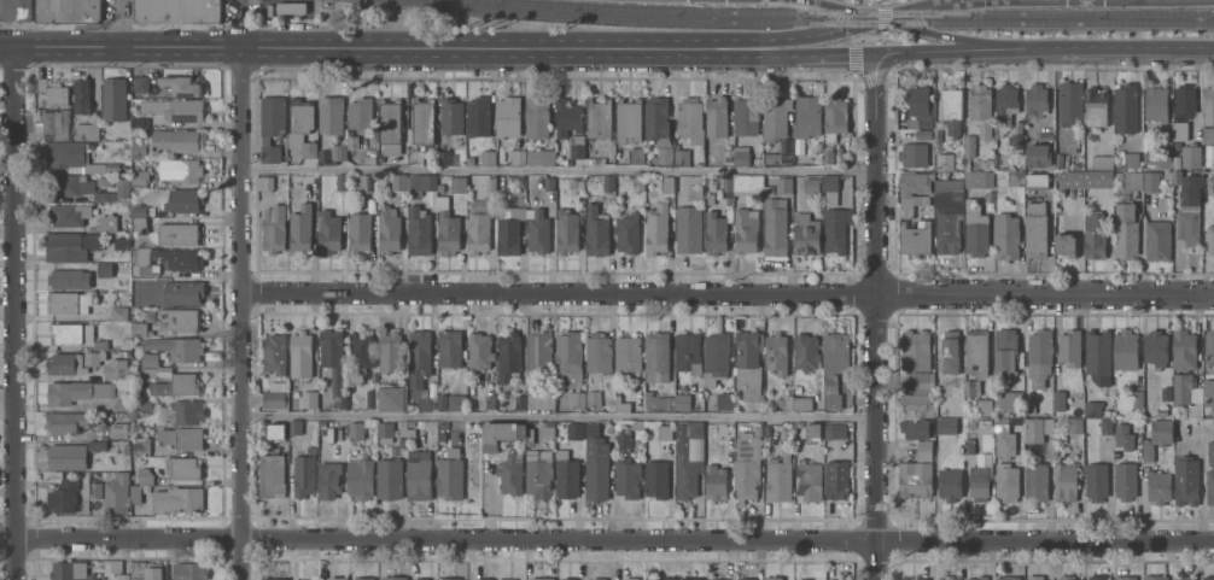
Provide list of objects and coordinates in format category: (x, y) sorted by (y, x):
road: (886, 2)
road: (929, 5)
building: (293, 7)
road: (846, 8)
building: (17, 10)
building: (69, 11)
building: (177, 11)
road: (118, 12)
road: (240, 12)
railway: (854, 12)
road: (831, 17)
road: (885, 17)
traffic signals: (885, 18)
railway: (802, 22)
road: (164, 24)
road: (118, 34)
road: (239, 36)
road: (866, 36)
road: (789, 37)
road: (953, 37)
road: (6, 46)
road: (354, 47)
road: (1120, 47)
road: (949, 49)
traffic signals: (872, 53)
road: (745, 54)
road: (834, 54)
road: (854, 58)
road: (14, 64)
road: (126, 64)
road: (874, 64)
road: (1050, 65)
road: (237, 70)
road: (875, 74)
road: (474, 76)
road: (780, 77)
building: (142, 83)
building: (182, 86)
building: (54, 93)
building: (82, 95)
building: (115, 99)
building: (1185, 99)
building: (920, 100)
building: (1038, 100)
building: (952, 102)
building: (1006, 104)
building: (1072, 104)
building: (1156, 104)
building: (1209, 105)
building: (1096, 106)
building: (1126, 107)
building: (175, 109)
building: (982, 109)
building: (362, 113)
building: (331, 116)
building: (453, 116)
building: (479, 116)
building: (538, 116)
building: (717, 116)
building: (747, 116)
building: (809, 116)
building: (509, 117)
building: (568, 117)
building: (835, 117)
building: (777, 118)
building: (600, 119)
building: (691, 119)
building: (629, 121)
building: (140, 122)
building: (391, 122)
building: (424, 122)
building: (927, 123)
building: (54, 124)
building: (273, 127)
building: (303, 127)
building: (659, 127)
building: (87, 130)
building: (1179, 130)
building: (924, 134)
building: (1168, 135)
building: (1209, 135)
building: (179, 140)
building: (1017, 143)
building: (970, 145)
building: (578, 146)
building: (140, 148)
building: (339, 152)
building: (374, 152)
building: (66, 154)
building: (829, 154)
building: (915, 154)
building: (1039, 154)
building: (637, 156)
building: (1191, 156)
building: (416, 157)
building: (444, 157)
building: (489, 157)
building: (518, 157)
building: (542, 157)
building: (683, 157)
building: (1157, 157)
building: (742, 158)
building: (777, 158)
building: (471, 160)
building: (1060, 160)
building: (1130, 160)
building: (759, 162)
building: (946, 162)
building: (1103, 162)
building: (990, 163)
building: (1074, 165)
building: (185, 170)
road: (558, 170)
building: (1169, 175)
building: (1119, 176)
building: (1016, 177)
building: (1075, 177)
building: (1096, 177)
building: (980, 178)
building: (710, 180)
building: (1133, 180)
building: (105, 181)
building: (139, 181)
building: (1038, 181)
building: (1151, 181)
building: (267, 182)
building: (342, 182)
building: (367, 182)
building: (399, 182)
building: (609, 182)
building: (830, 182)
building: (421, 183)
building: (459, 183)
building: (491, 183)
building: (549, 183)
building: (576, 183)
building: (638, 183)
building: (669, 183)
building: (728, 183)
building: (749, 183)
building: (66, 184)
building: (784, 186)
building: (811, 186)
building: (123, 187)
building: (440, 187)
building: (916, 188)
building: (770, 189)
building: (695, 192)
building: (105, 195)
building: (185, 200)
building: (1189, 206)
building: (140, 210)
building: (906, 211)
building: (66, 215)
building: (949, 215)
building: (1060, 221)
building: (109, 222)
building: (139, 224)
building: (776, 227)
building: (448, 228)
building: (658, 228)
building: (302, 229)
building: (509, 229)
building: (689, 229)
building: (976, 229)
building: (1037, 229)
building: (390, 230)
building: (419, 230)
building: (597, 230)
building: (718, 230)
building: (835, 230)
building: (1126, 230)
building: (331, 232)
building: (360, 232)
building: (479, 232)
building: (538, 232)
building: (567, 232)
building: (746, 232)
building: (629, 233)
building: (179, 234)
building: (274, 234)
building: (807, 234)
building: (1095, 235)
building: (1006, 236)
building: (916, 239)
building: (1210, 239)
building: (1158, 240)
building: (122, 244)
building: (1068, 244)
building: (71, 246)
building: (180, 258)
building: (150, 269)
building: (105, 270)
building: (70, 279)
building: (183, 292)
road: (728, 292)
building: (68, 304)
road: (12, 312)
road: (243, 312)
building: (119, 314)
building: (150, 315)
building: (179, 318)
road: (874, 327)
building: (139, 329)
building: (72, 333)
building: (100, 344)
building: (179, 347)
building: (450, 347)
building: (1070, 347)
building: (1156, 347)
building: (1185, 348)
building: (362, 350)
building: (916, 350)
building: (1126, 350)
building: (480, 351)
building: (539, 351)
building: (807, 351)
building: (951, 351)
building: (303, 352)
building: (391, 352)
building: (600, 352)
building: (689, 352)
building: (718, 352)
building: (275, 353)
building: (777, 353)
building: (1006, 355)
building: (1099, 356)
building: (509, 357)
building: (629, 357)
building: (658, 357)
building: (1040, 357)
building: (94, 358)
building: (570, 358)
building: (976, 358)
building: (151, 359)
building: (334, 362)
building: (836, 362)
building: (66, 363)
building: (748, 364)
building: (420, 368)
building: (117, 369)
building: (154, 371)
building: (1209, 373)
building: (923, 376)
building: (177, 385)
building: (1183, 388)
building: (798, 389)
building: (77, 391)
building: (1167, 393)
building: (123, 396)
building: (276, 396)
building: (372, 398)
building: (392, 398)
building: (594, 398)
building: (311, 399)
building: (541, 399)
building: (576, 399)
building: (918, 399)
building: (1009, 399)
building: (833, 400)
building: (1060, 400)
building: (1138, 400)
building: (443, 402)
building: (457, 402)
building: (491, 402)
building: (520, 402)
building: (659, 402)
building: (683, 402)
building: (725, 402)
building: (788, 403)
building: (804, 403)
building: (148, 404)
building: (623, 404)
building: (985, 406)
building: (1093, 409)
building: (1196, 410)
building: (186, 412)
road: (559, 416)
building: (66, 422)
building: (412, 423)
building: (799, 423)
building: (322, 424)
building: (945, 424)
building: (1137, 424)
building: (1075, 426)
building: (296, 427)
building: (548, 427)
building: (1107, 427)
building: (386, 428)
building: (594, 428)
building: (638, 428)
building: (916, 428)
building: (1038, 428)
building: (119, 429)
building: (278, 430)
building: (356, 430)
building: (576, 430)
building: (758, 430)
building: (815, 430)
building: (836, 430)
building: (666, 432)
building: (975, 432)
building: (1162, 432)
building: (403, 433)
building: (502, 433)
building: (623, 437)
building: (1123, 437)
building: (182, 438)
building: (789, 439)
building: (926, 444)
building: (1005, 444)
building: (98, 445)
building: (144, 445)
building: (127, 449)
building: (1148, 450)
building: (926, 453)
building: (1210, 453)
building: (69, 457)
building: (688, 462)
building: (747, 465)
building: (183, 467)
building: (597, 469)
building: (305, 473)
building: (420, 474)
building: (512, 474)
building: (146, 475)
building: (273, 475)
building: (361, 478)
building: (450, 478)
building: (539, 478)
building: (568, 478)
building: (629, 478)
building: (780, 478)
building: (391, 479)
building: (658, 479)
building: (837, 479)
building: (916, 479)
building: (329, 480)
building: (810, 480)
building: (1186, 480)
building: (980, 481)
building: (1008, 481)
building: (1037, 481)
building: (1097, 481)
building: (1126, 481)
building: (717, 482)
building: (1067, 482)
building: (951, 484)
building: (1160, 487)
building: (1210, 487)
building: (97, 490)
building: (147, 490)
building: (63, 492)
building: (118, 493)
building: (138, 494)
building: (179, 499)
road: (490, 499)
road: (606, 541)
building: (119, 569)
building: (147, 569)
building: (71, 570)
building: (189, 572)
building: (339, 578)
building: (395, 578)
building: (631, 578)
building: (774, 578)
building: (949, 578)
building: (980, 578)
building: (1009, 578)
building: (1035, 578)
building: (1068, 578)
building: (1098, 578)
building: (1126, 578)
building: (1156, 578)
building: (1185, 578)
building: (1208, 578)
building: (139, 579)
building: (274, 579)
building: (364, 579)
building: (421, 579)
building: (451, 579)
building: (484, 579)
building: (506, 579)
building: (543, 579)
building: (570, 579)
building: (599, 579)
building: (652, 579)
building: (660, 579)
building: (669, 579)
building: (684, 579)
building: (717, 579)
building: (747, 579)
building: (805, 579)
building: (914, 579)

